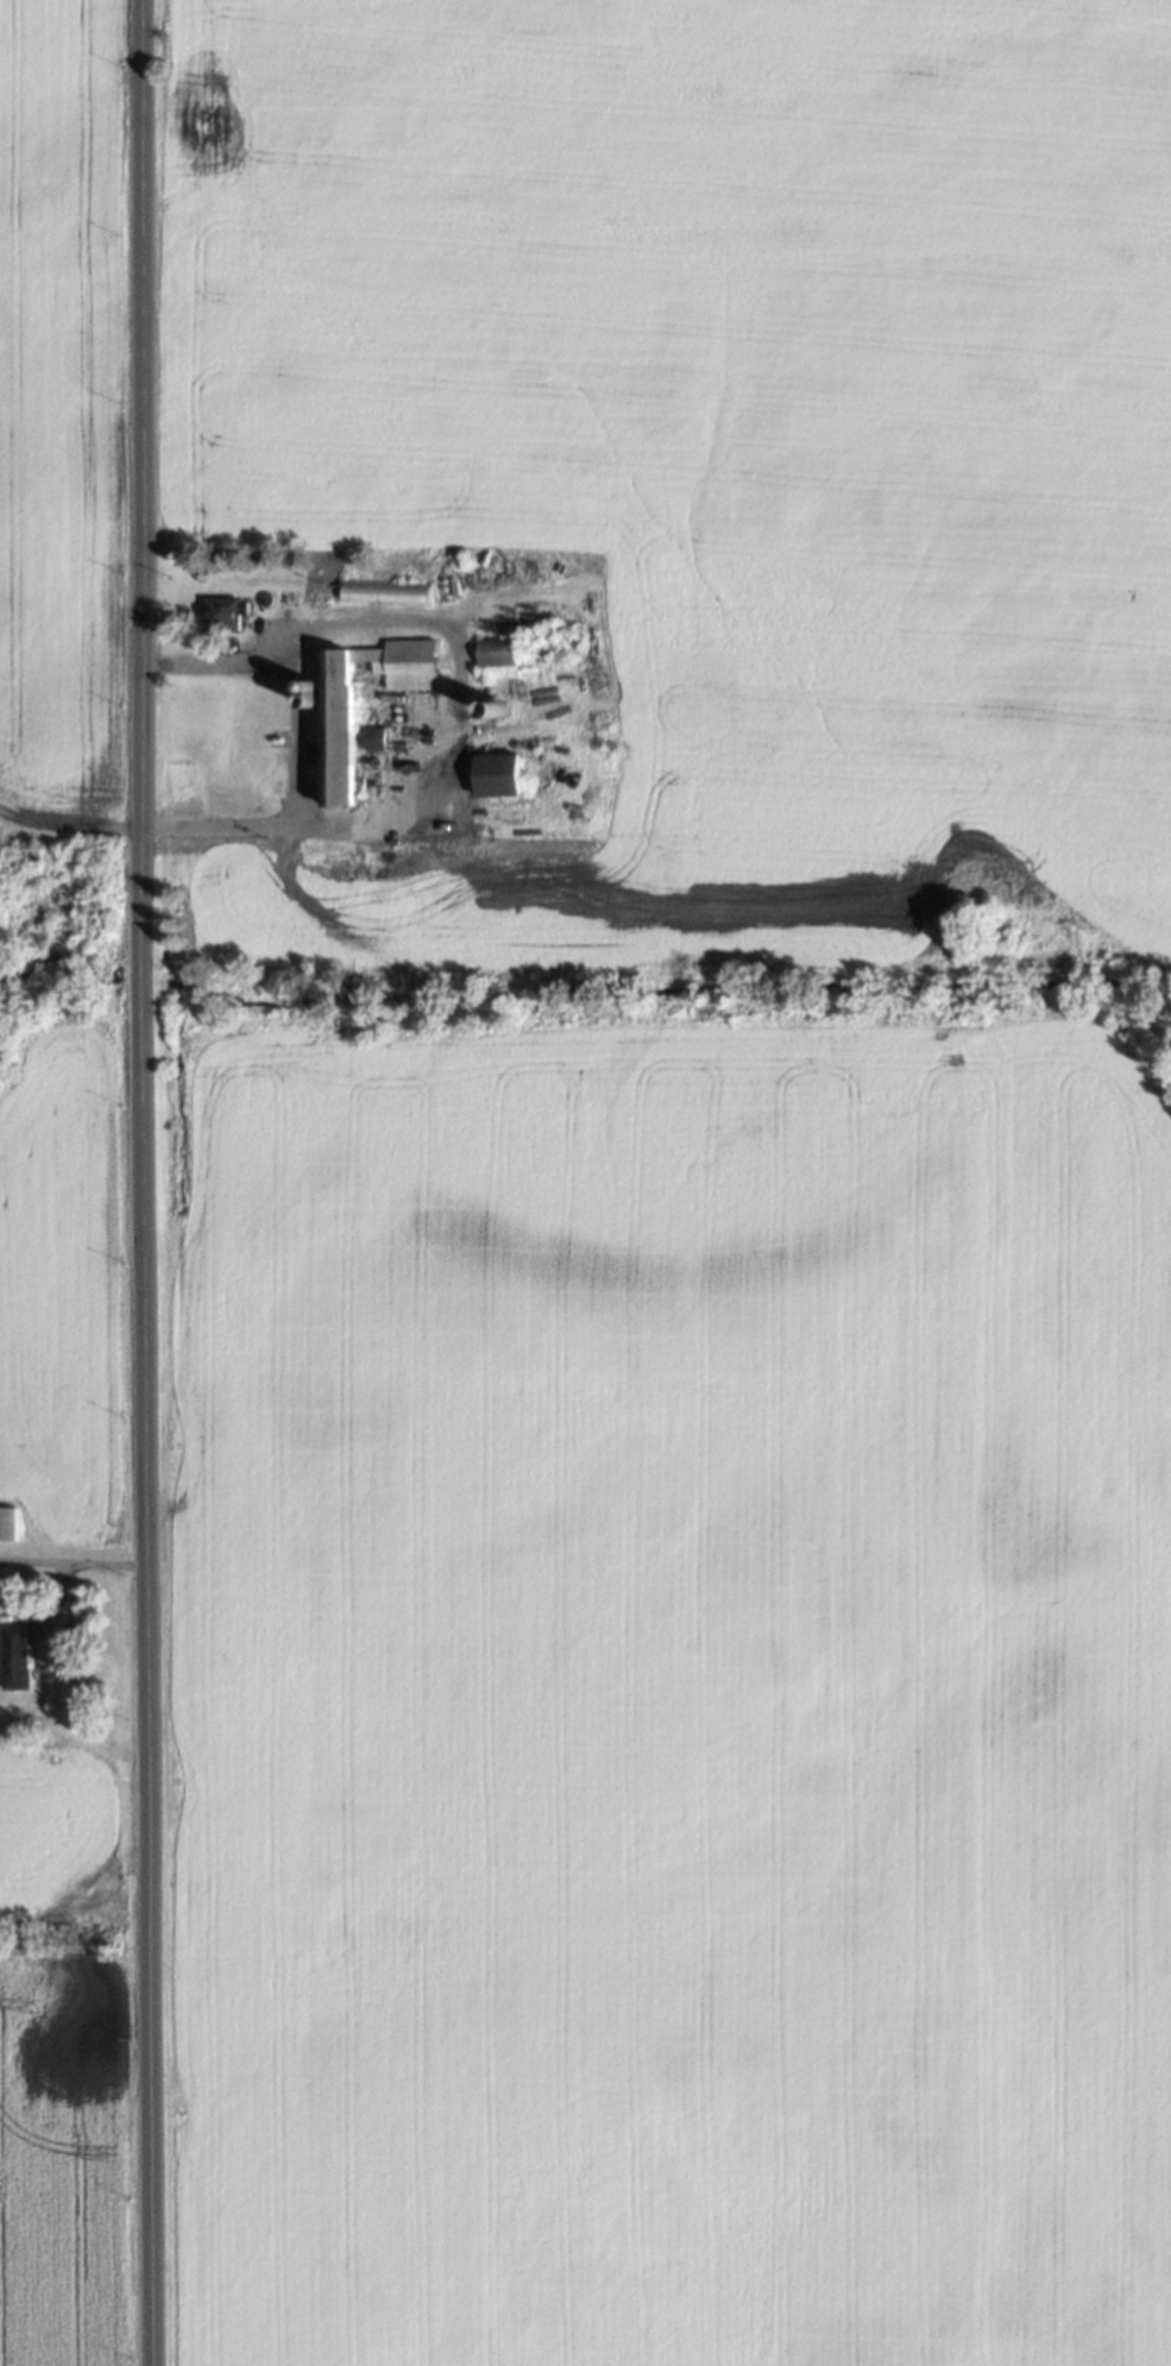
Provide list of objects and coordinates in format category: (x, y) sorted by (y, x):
crop: (52, 417)
building: (385, 591)
building: (283, 597)
building: (220, 613)
building: (533, 644)
building: (566, 644)
building: (496, 652)
road: (447, 696)
building: (336, 710)
building: (492, 716)
road: (292, 736)
building: (496, 774)
road: (139, 1183)
building: (5, 1522)
road: (70, 1560)
building: (12, 1655)

